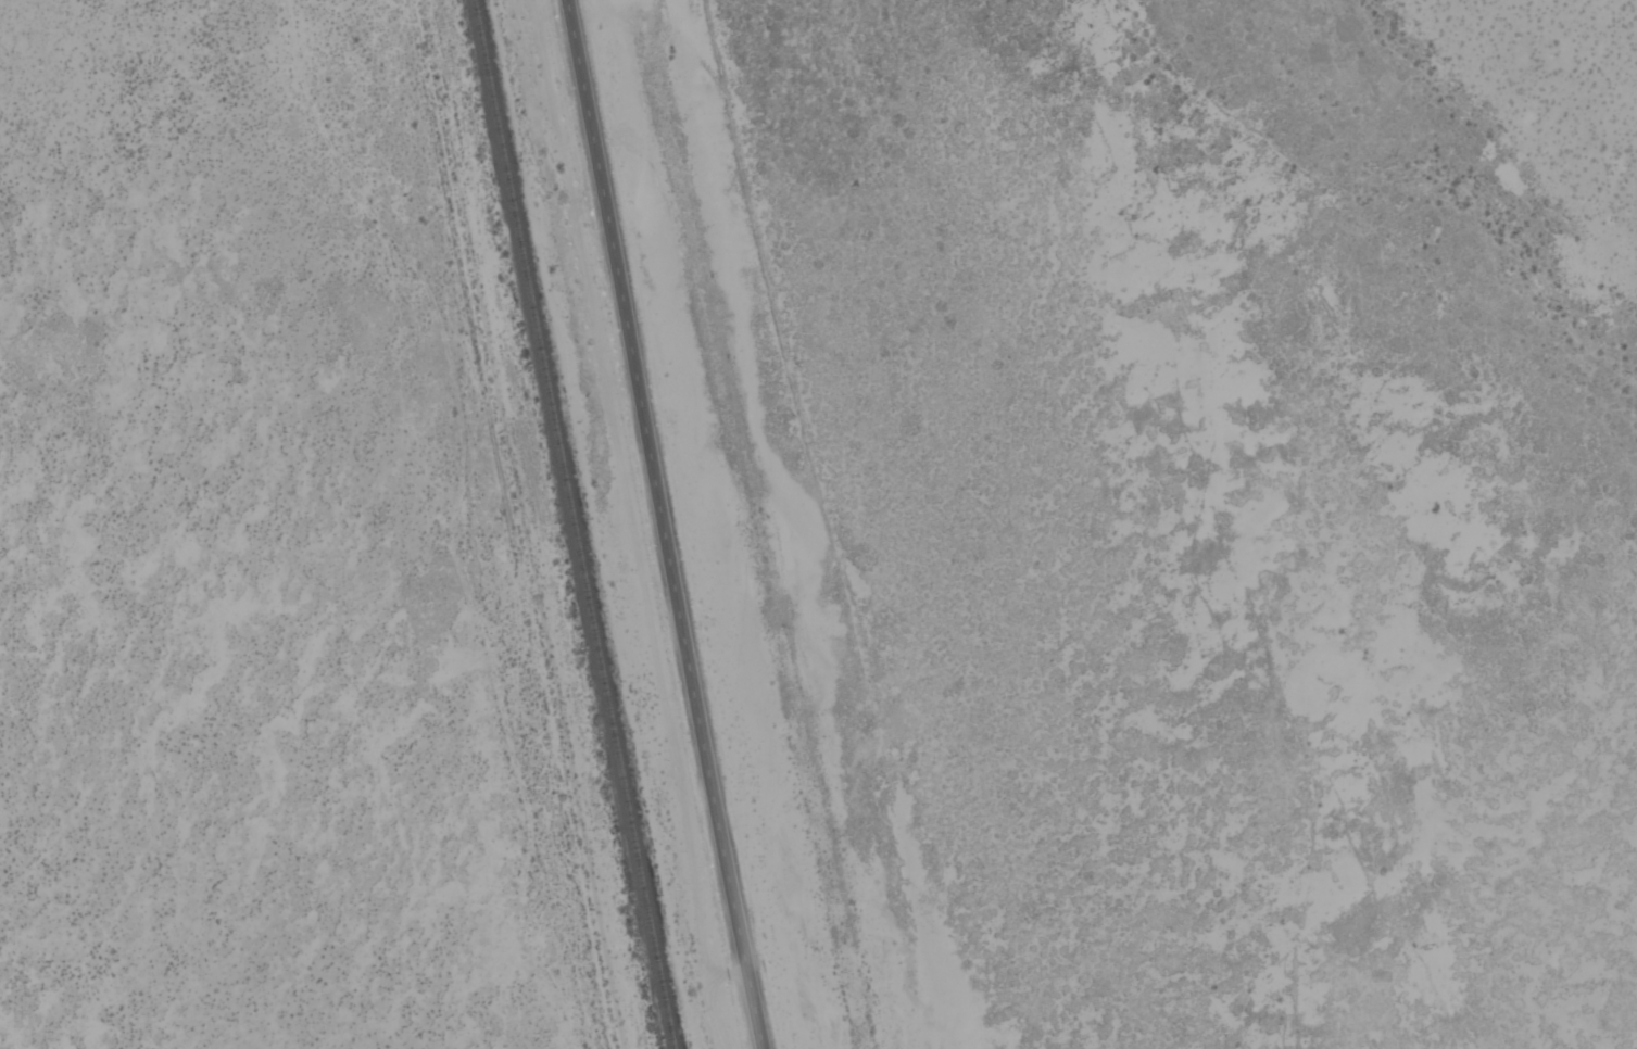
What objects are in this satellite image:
railway: (570, 524)
road: (658, 524)
road: (450, 528)

